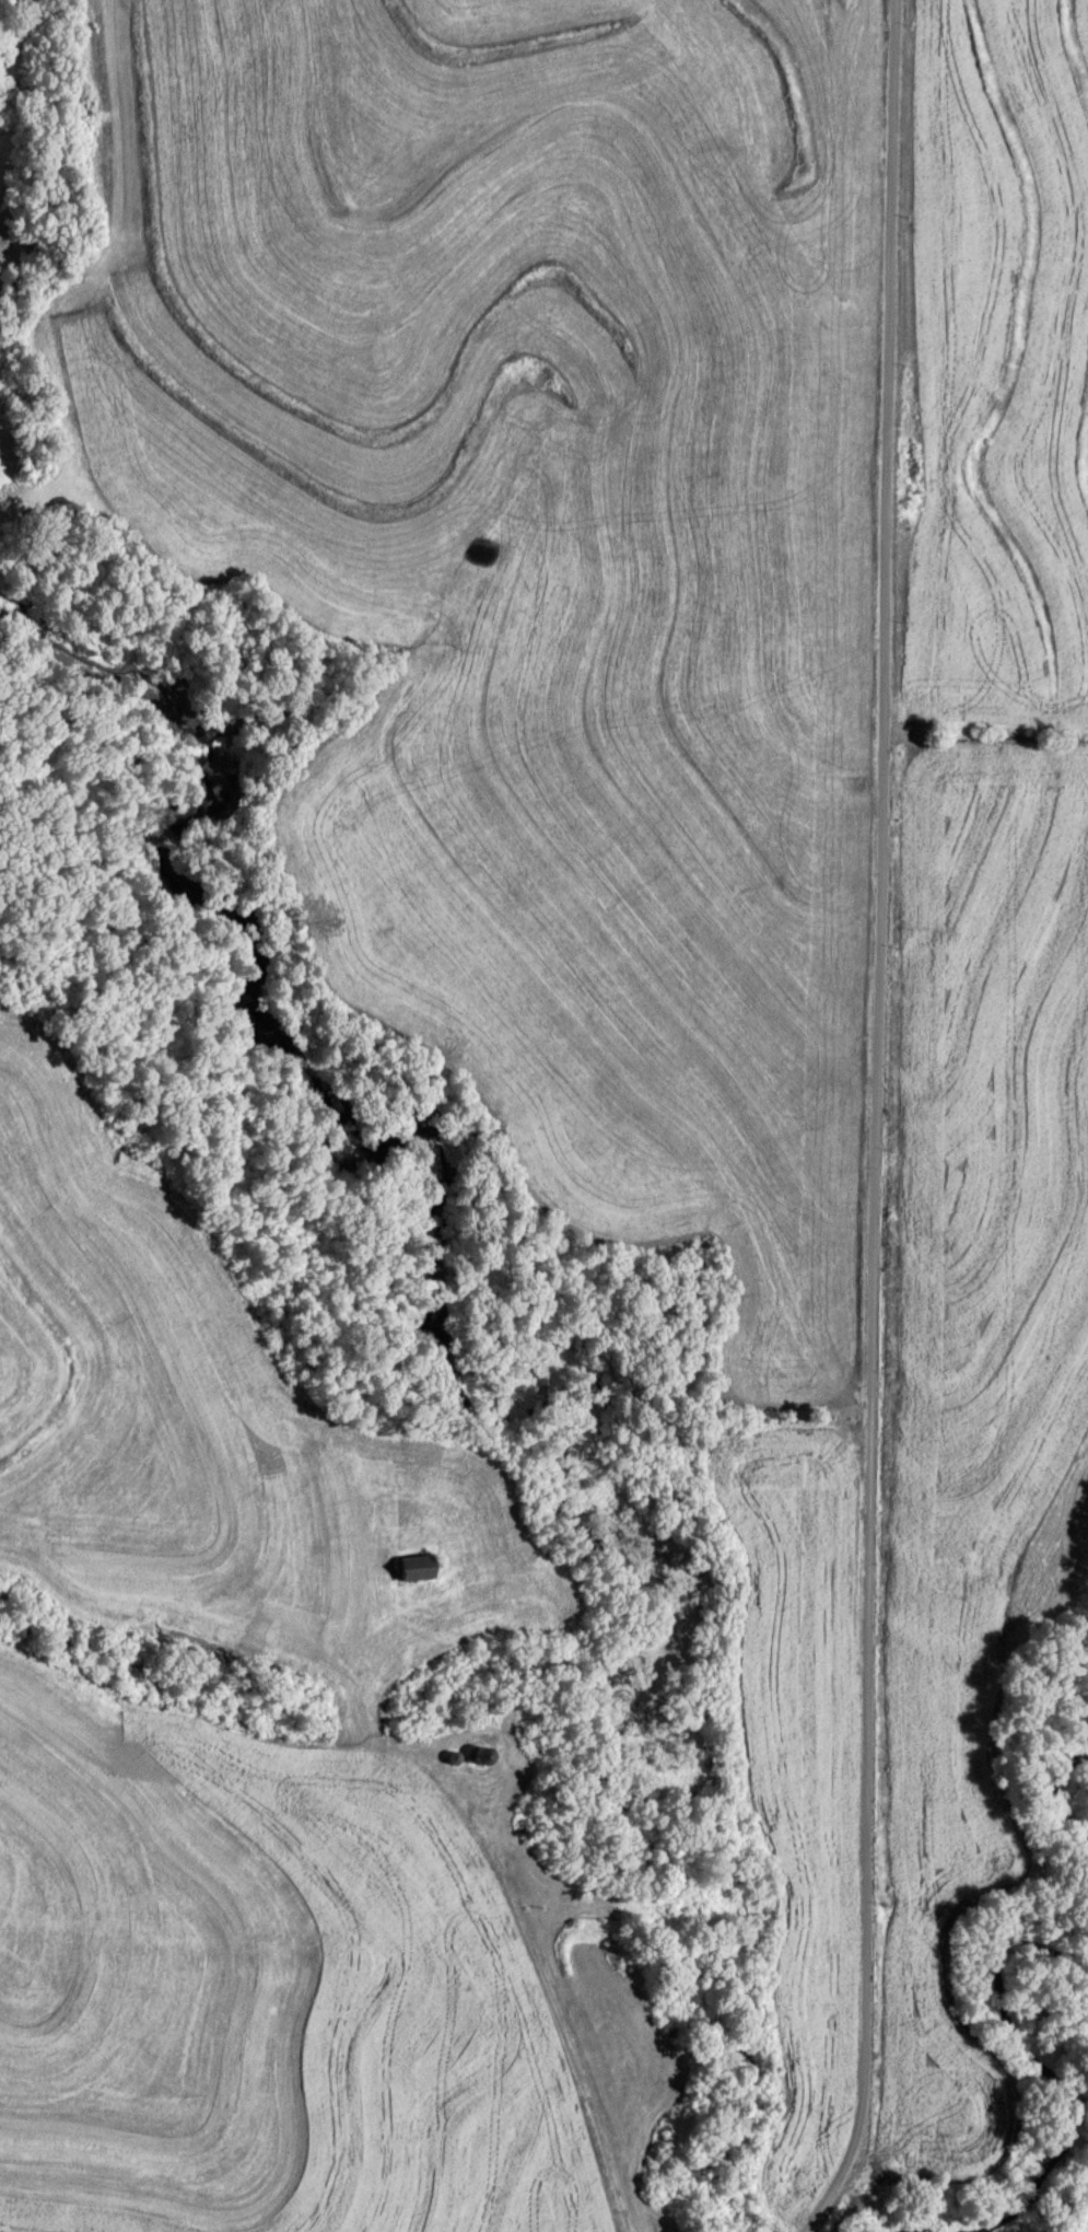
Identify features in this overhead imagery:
road: (877, 1125)
building: (411, 1565)
building: (476, 1753)
building: (468, 1946)

